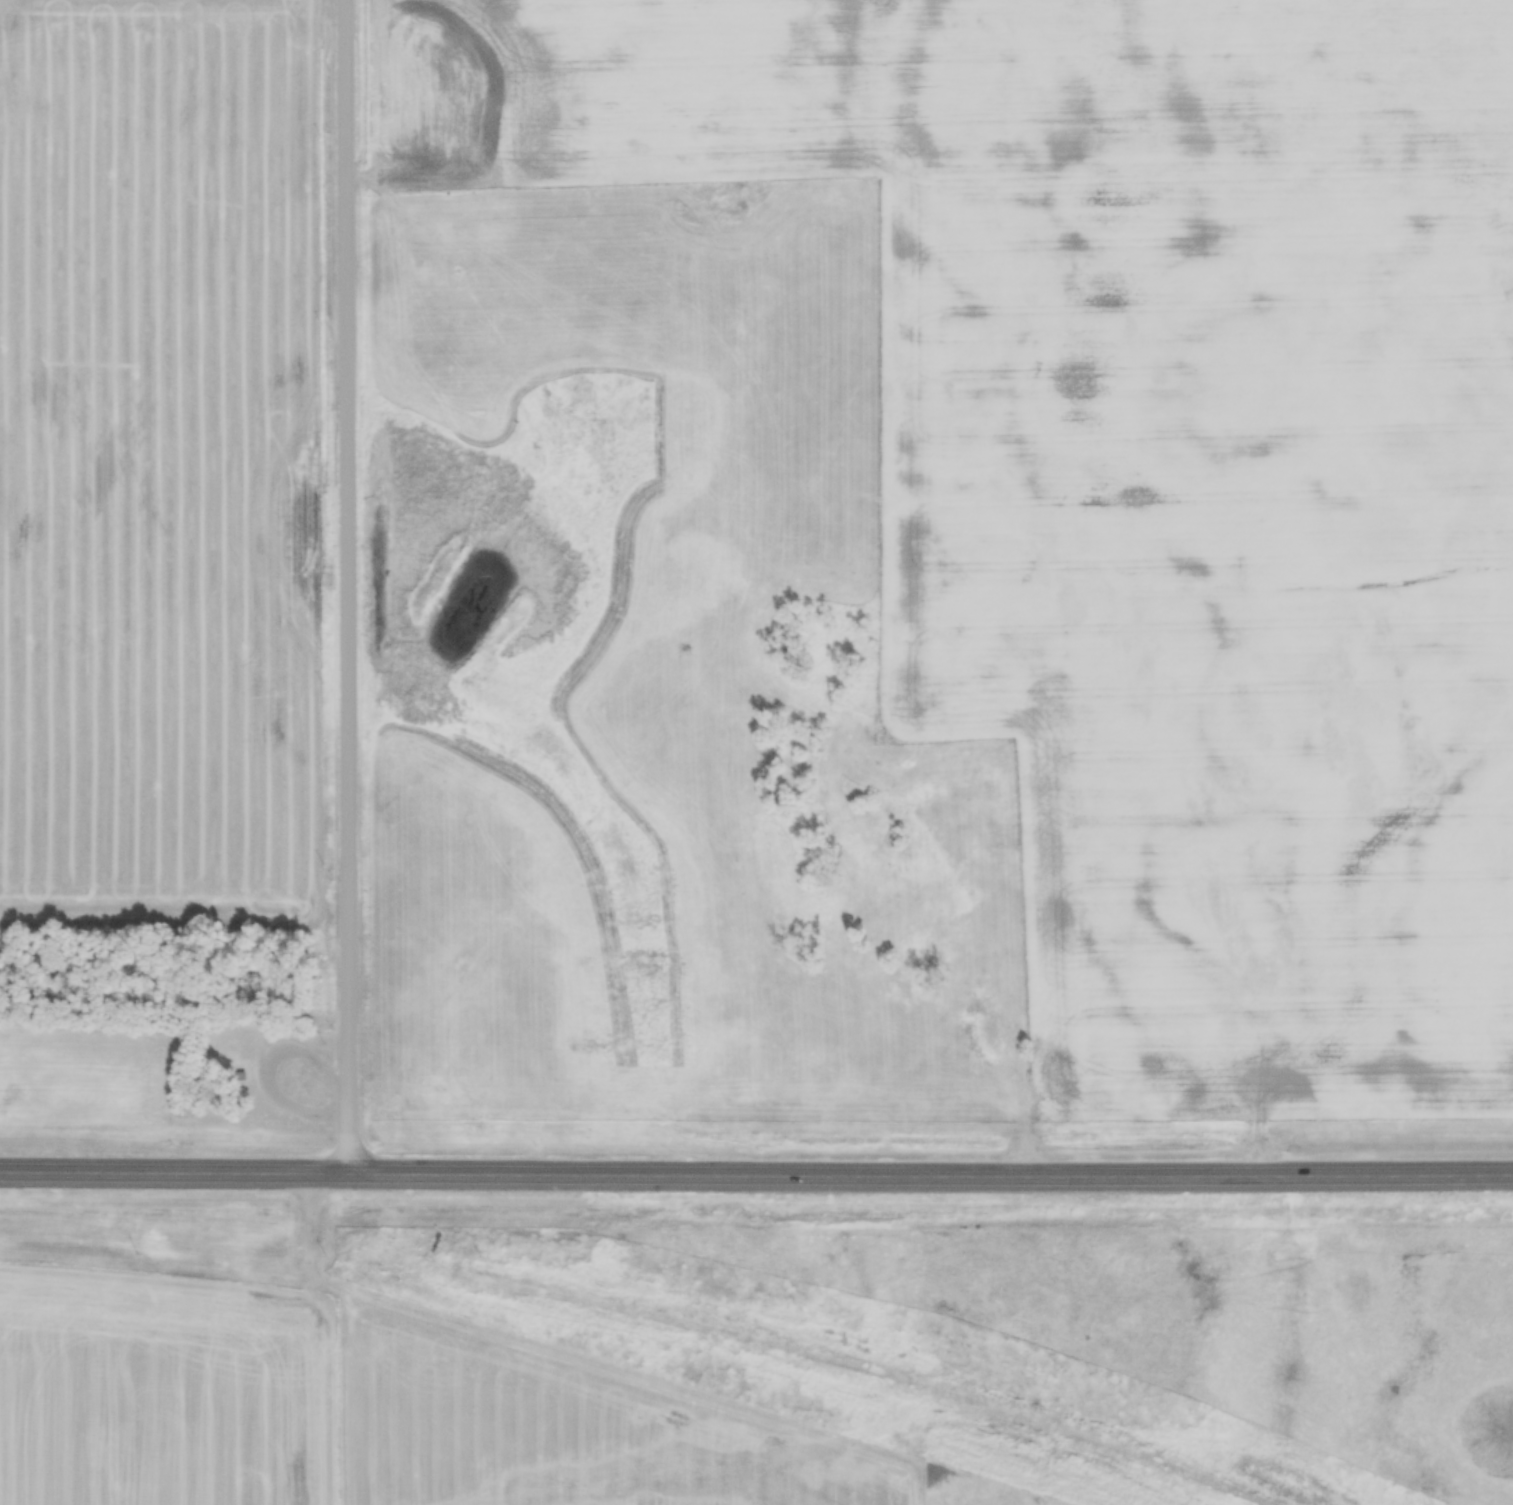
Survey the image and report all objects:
road: (351, 586)
road: (756, 1173)

